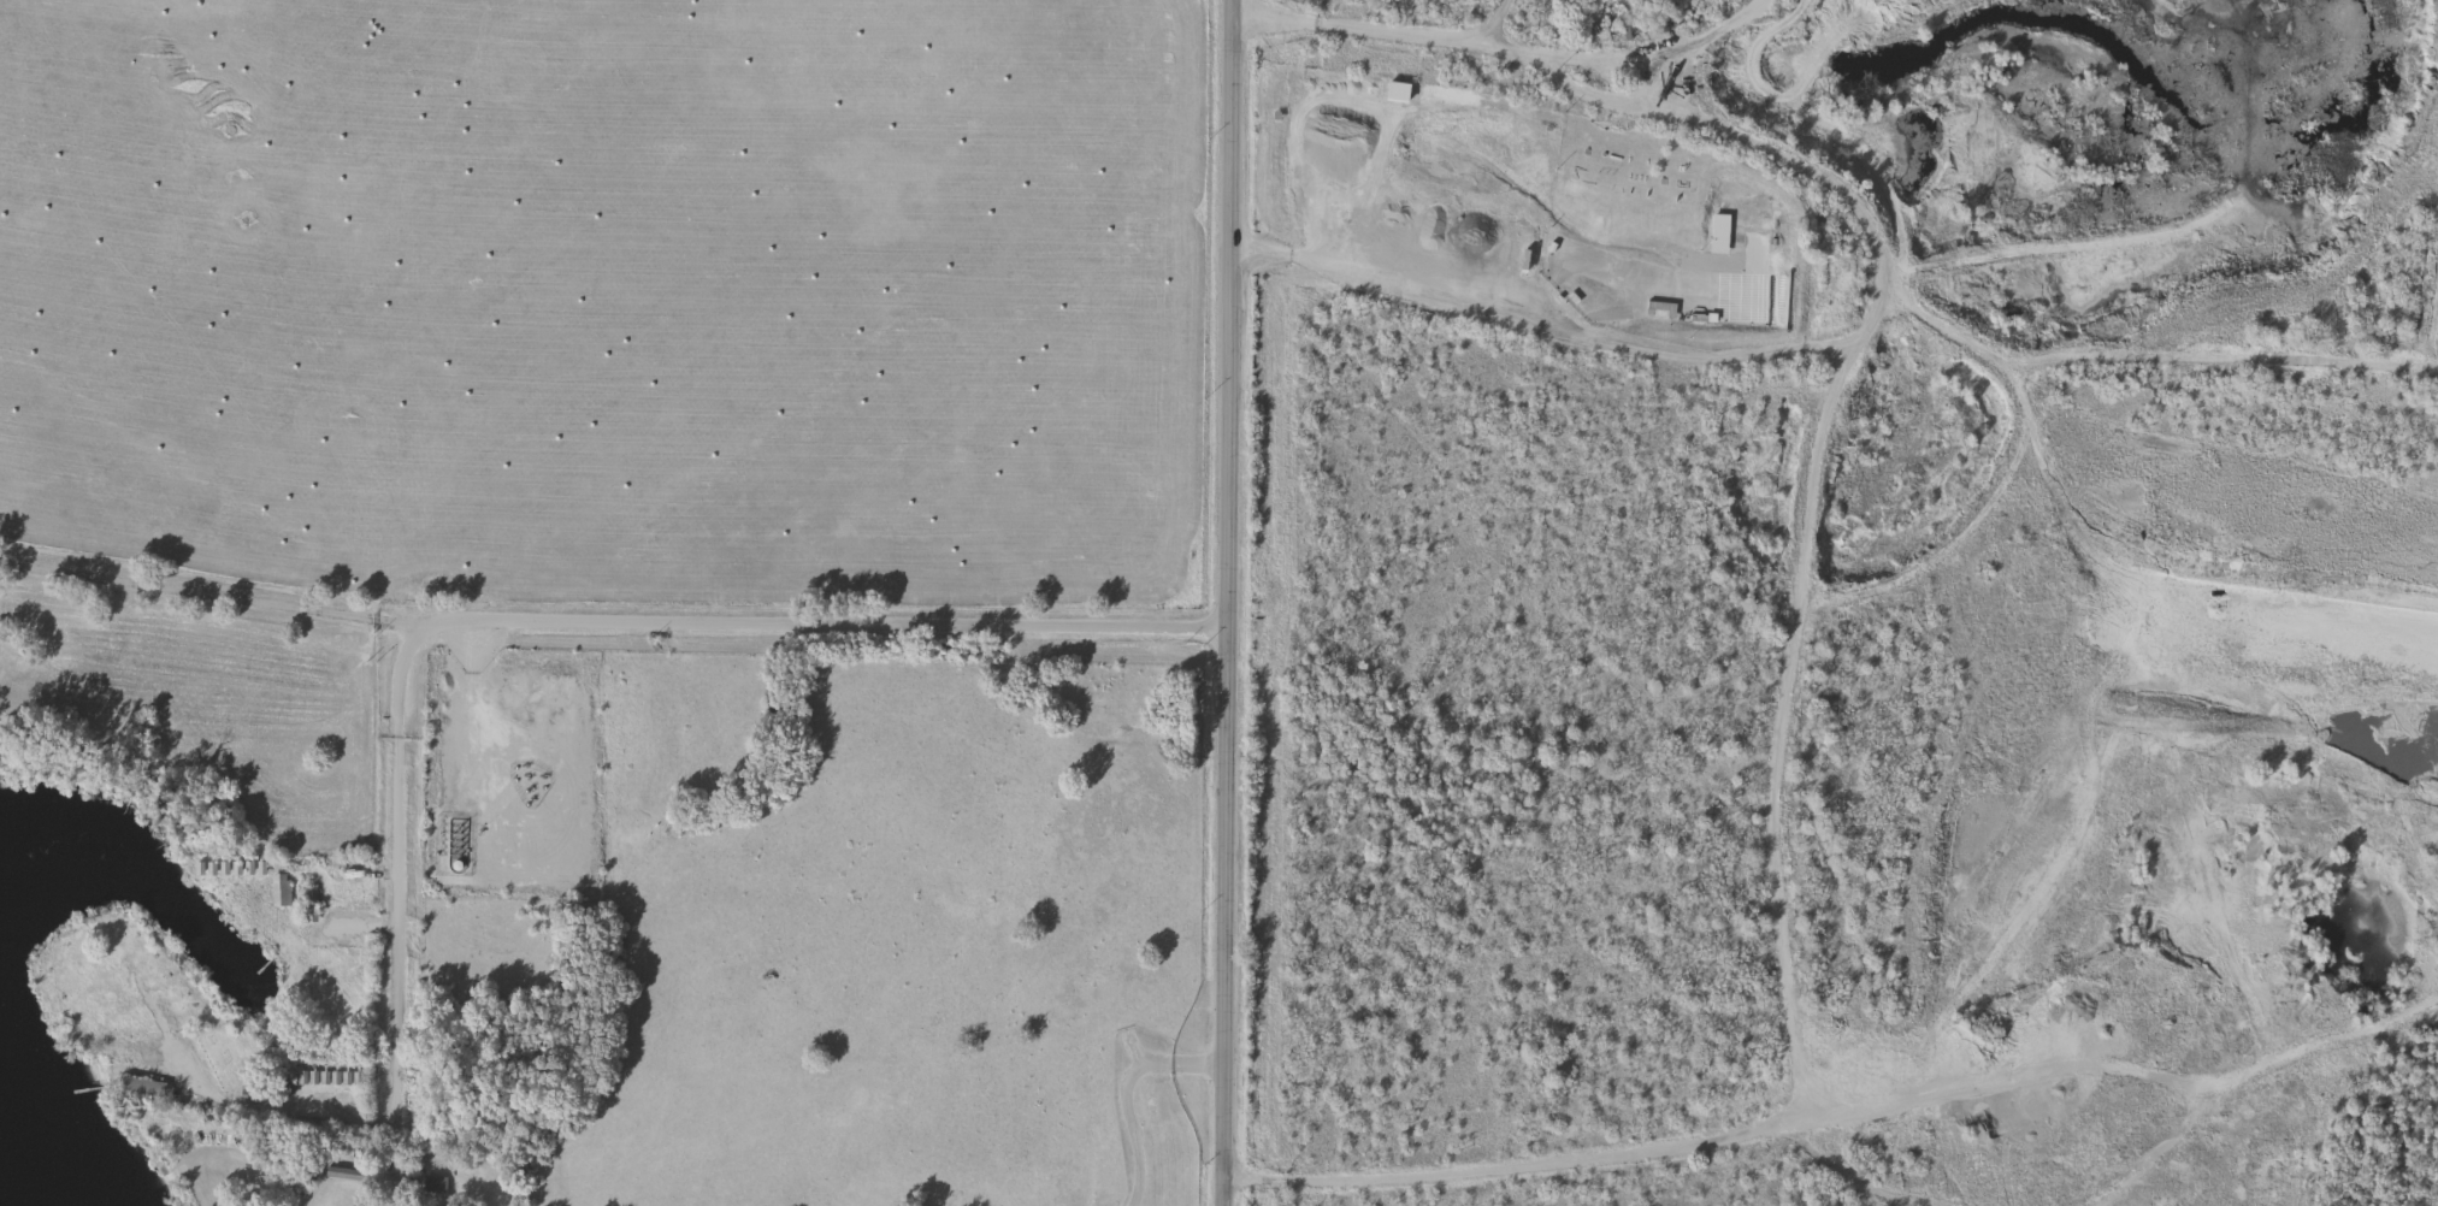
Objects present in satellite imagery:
building: (1556, 246)
road: (1872, 264)
building: (1657, 309)
road: (207, 592)
road: (1227, 603)
road: (817, 619)
building: (277, 889)
building: (306, 905)
road: (392, 917)
road: (1793, 1023)
building: (278, 1082)
building: (137, 1089)
road: (1123, 1092)
building: (342, 1174)
building: (431, 1184)

